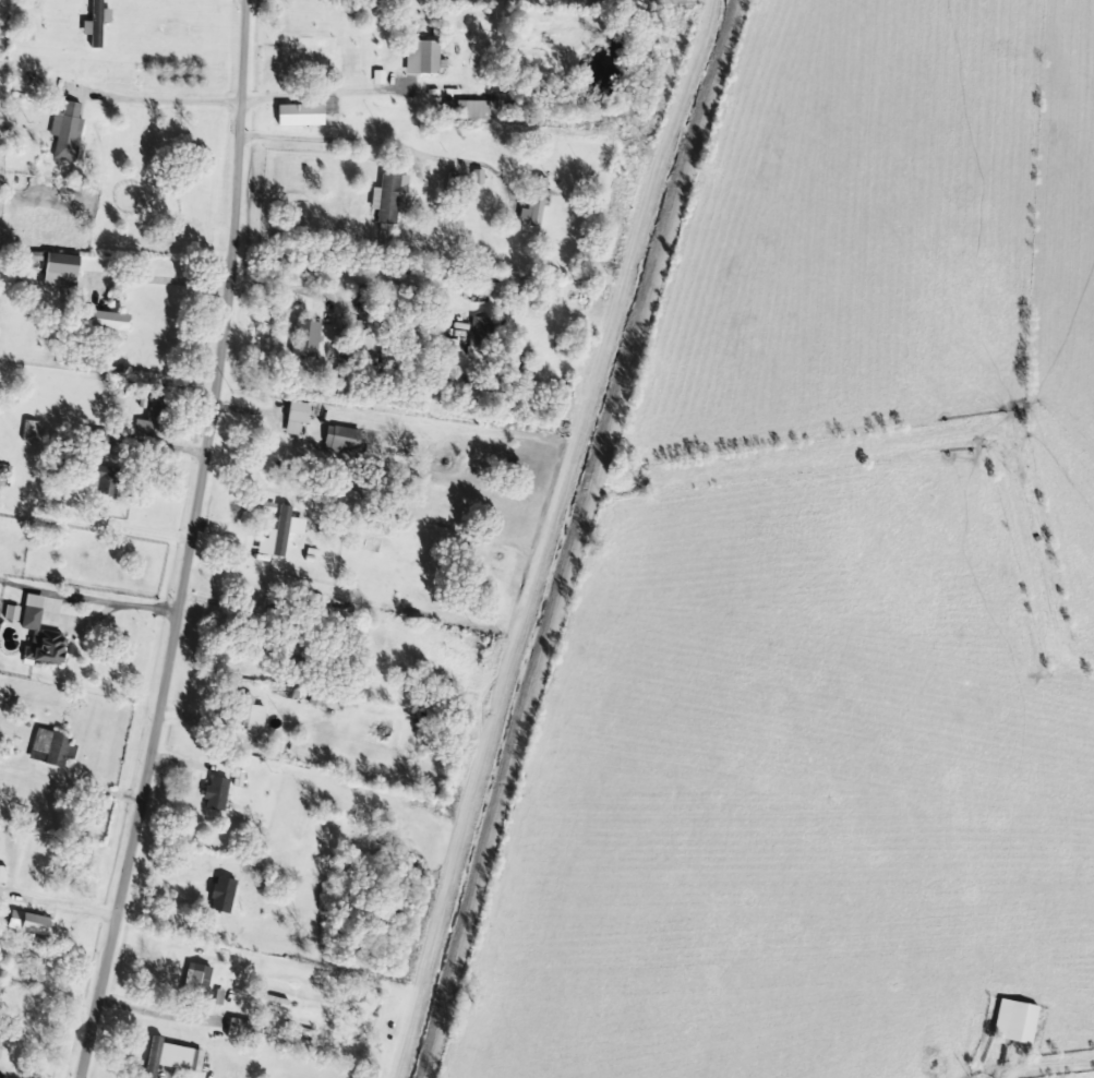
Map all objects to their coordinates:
building: (96, 23)
building: (421, 57)
road: (171, 100)
building: (67, 131)
building: (389, 196)
building: (534, 202)
building: (60, 269)
building: (108, 320)
building: (354, 331)
building: (478, 336)
building: (304, 338)
building: (296, 416)
building: (153, 418)
building: (28, 430)
building: (341, 439)
building: (4, 472)
building: (104, 481)
building: (279, 532)
road: (190, 541)
building: (11, 612)
building: (39, 634)
building: (249, 712)
building: (51, 747)
building: (215, 793)
building: (2, 874)
building: (221, 894)
building: (28, 924)
building: (196, 979)
building: (1014, 1021)
building: (243, 1030)
building: (171, 1056)

